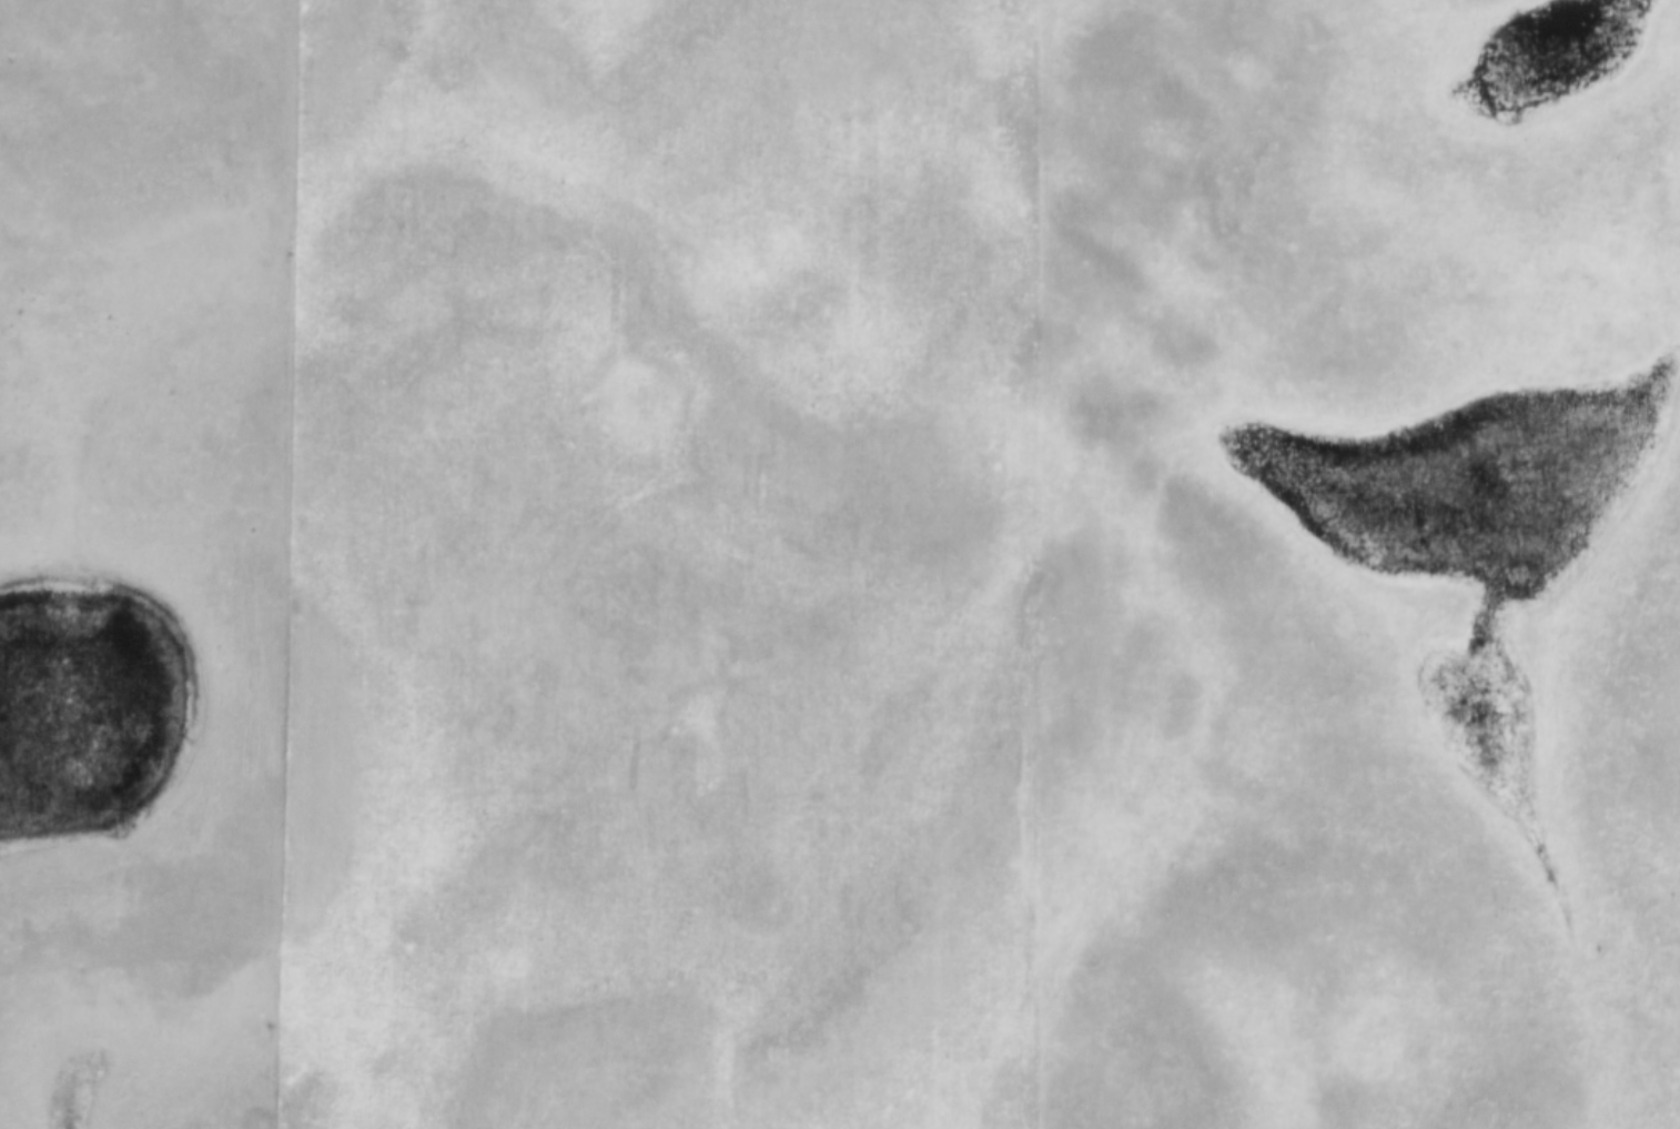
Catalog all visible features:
road: (1034, 564)

